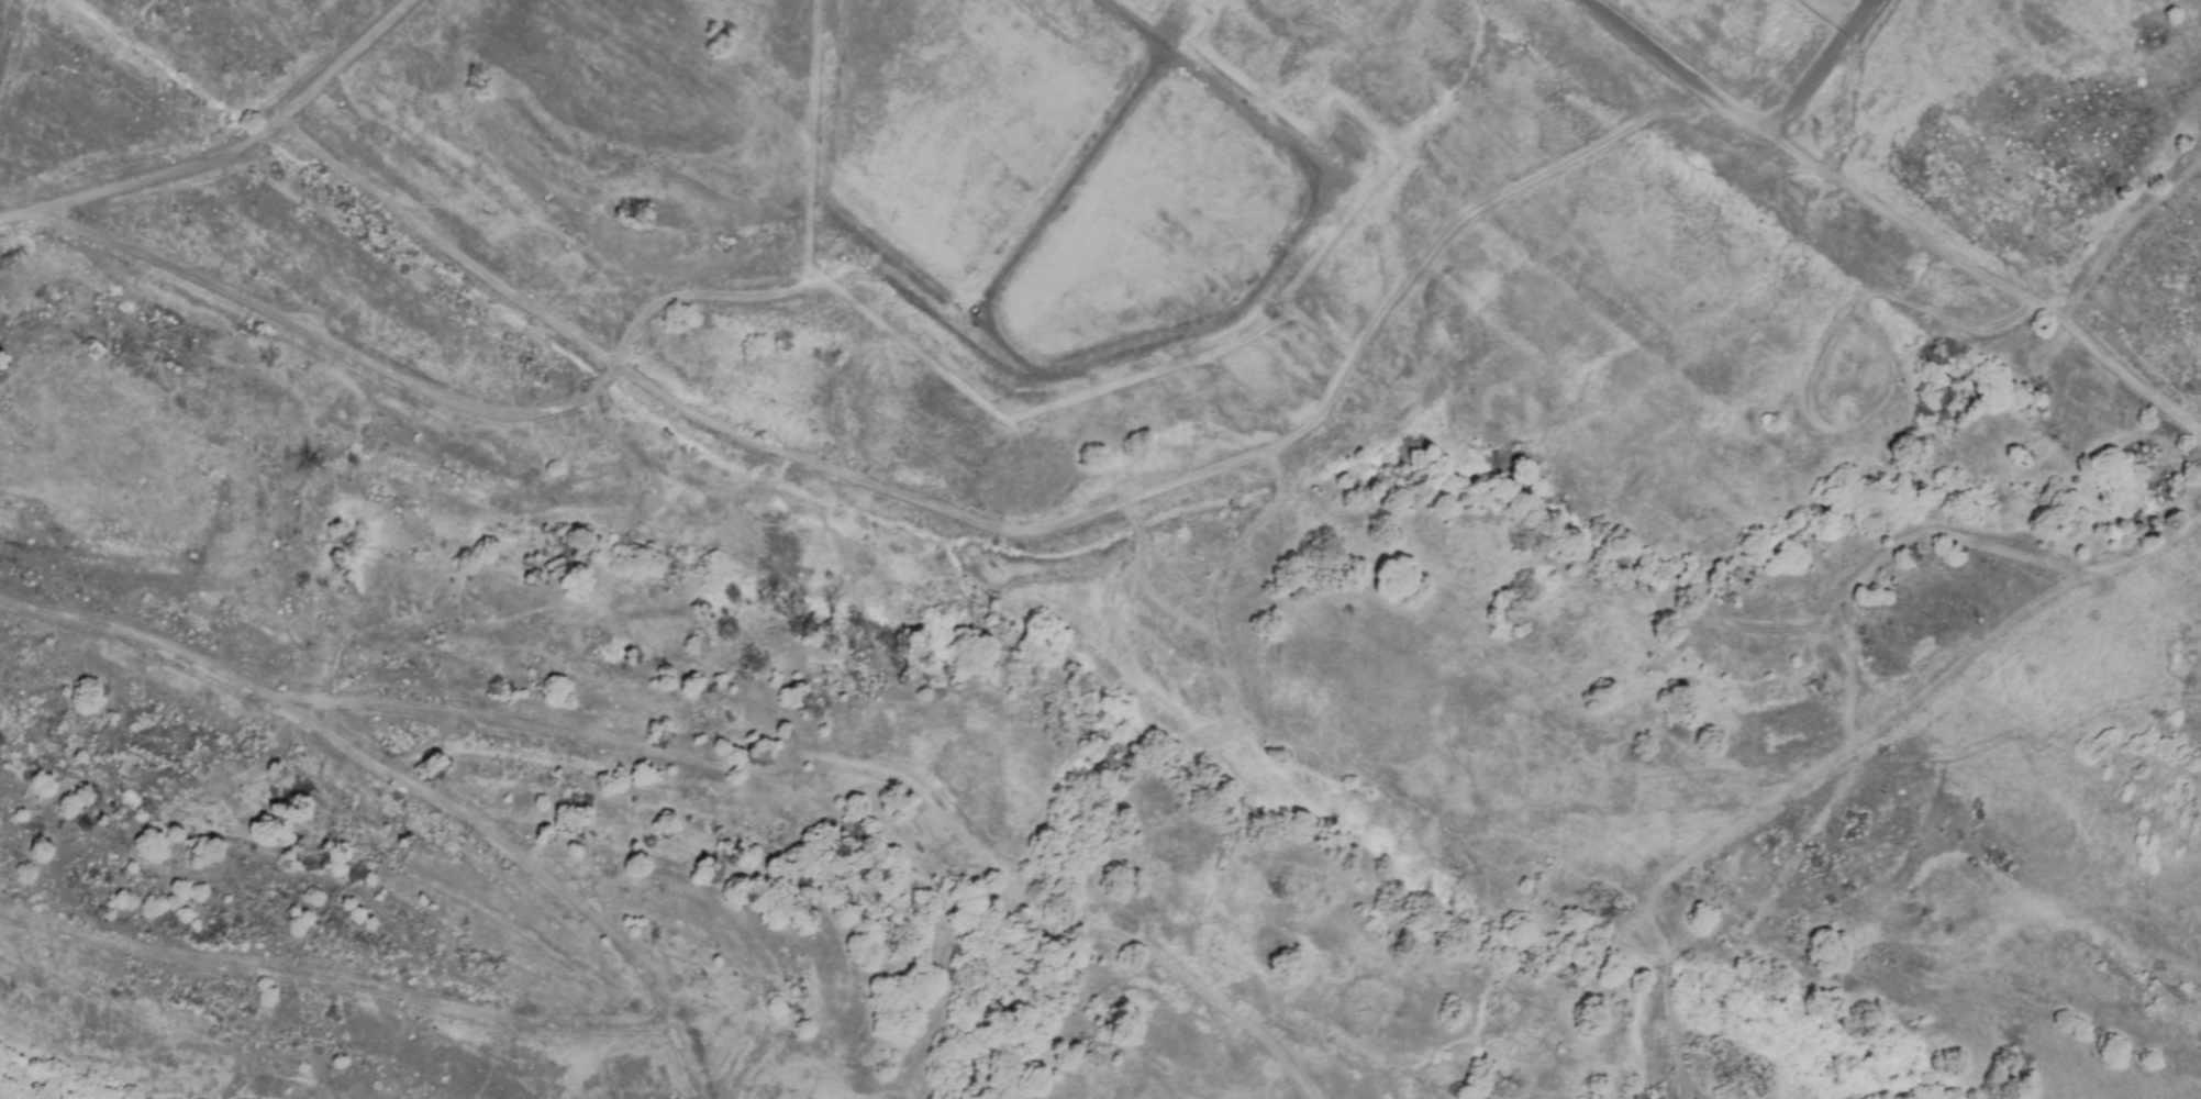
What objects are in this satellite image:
road: (1741, 109)
road: (813, 141)
road: (227, 157)
road: (1057, 190)
road: (2125, 237)
road: (1432, 242)
road: (830, 270)
road: (1990, 273)
road: (1945, 319)
road: (1838, 428)
road: (1880, 559)
road: (1835, 756)
road: (368, 765)
road: (1112, 859)
road: (329, 986)
road: (1229, 1011)
road: (680, 1066)

